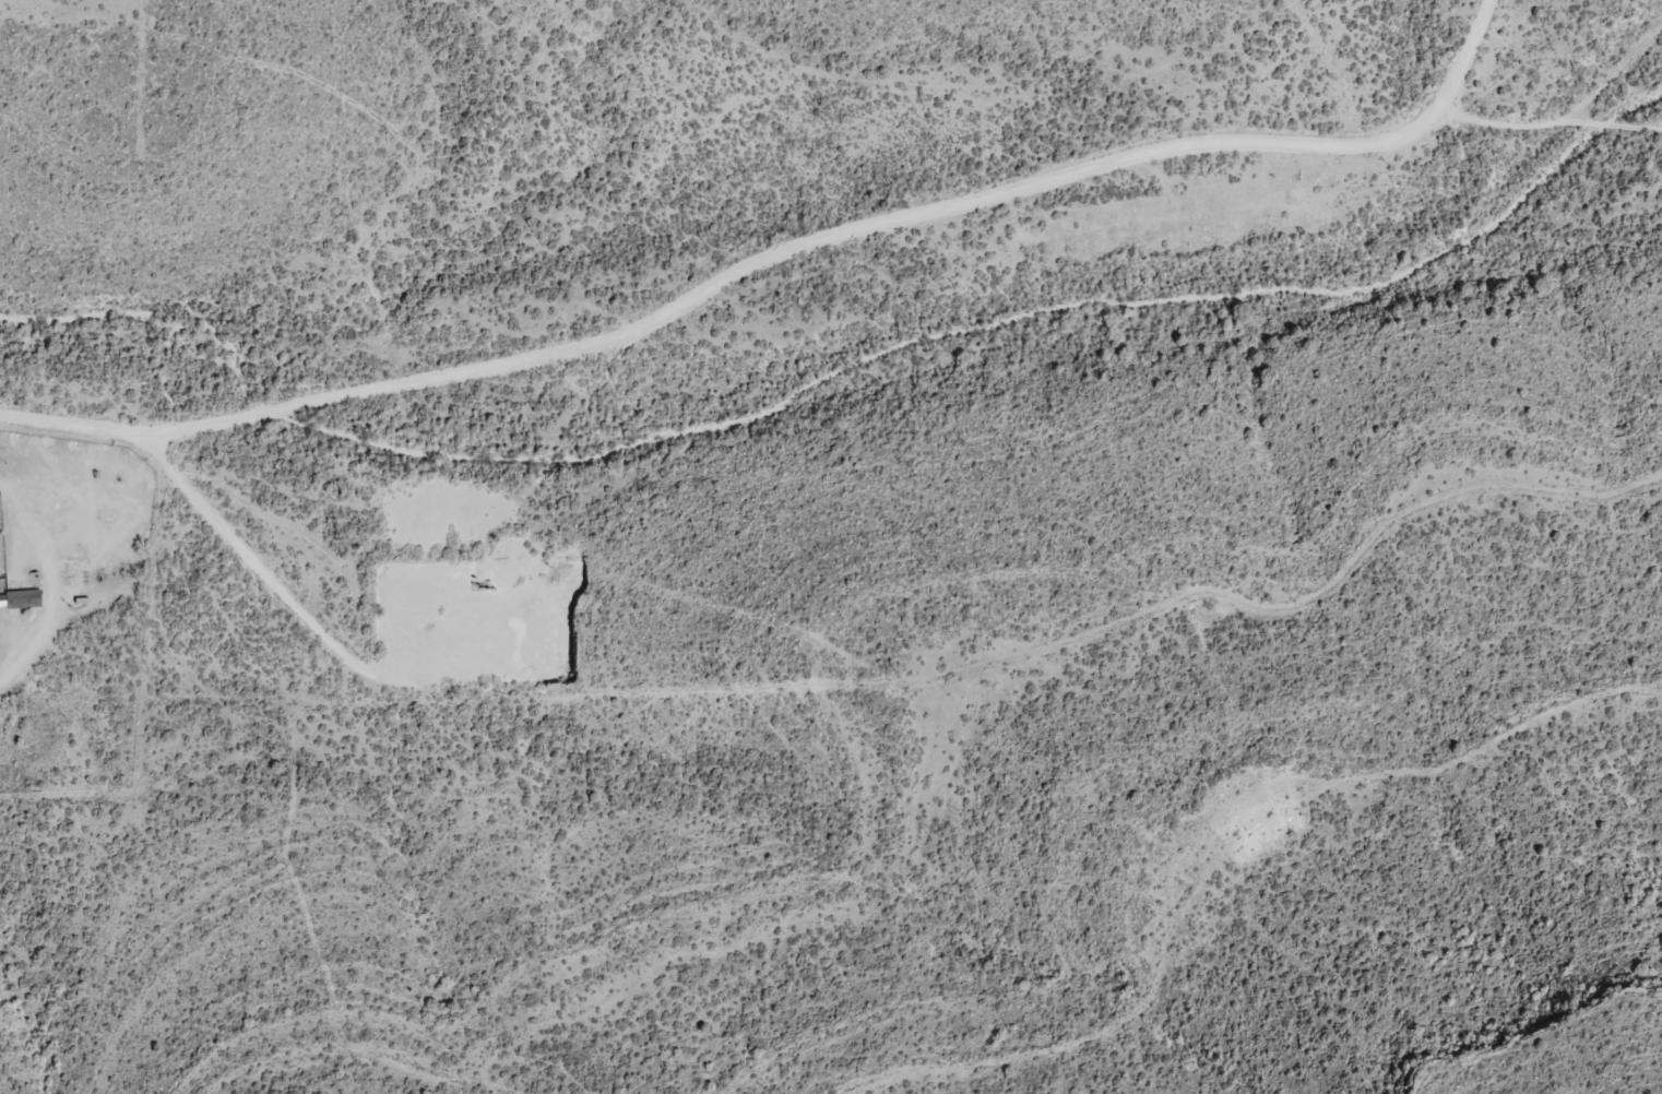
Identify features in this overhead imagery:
road: (1543, 59)
road: (833, 252)
building: (25, 599)

